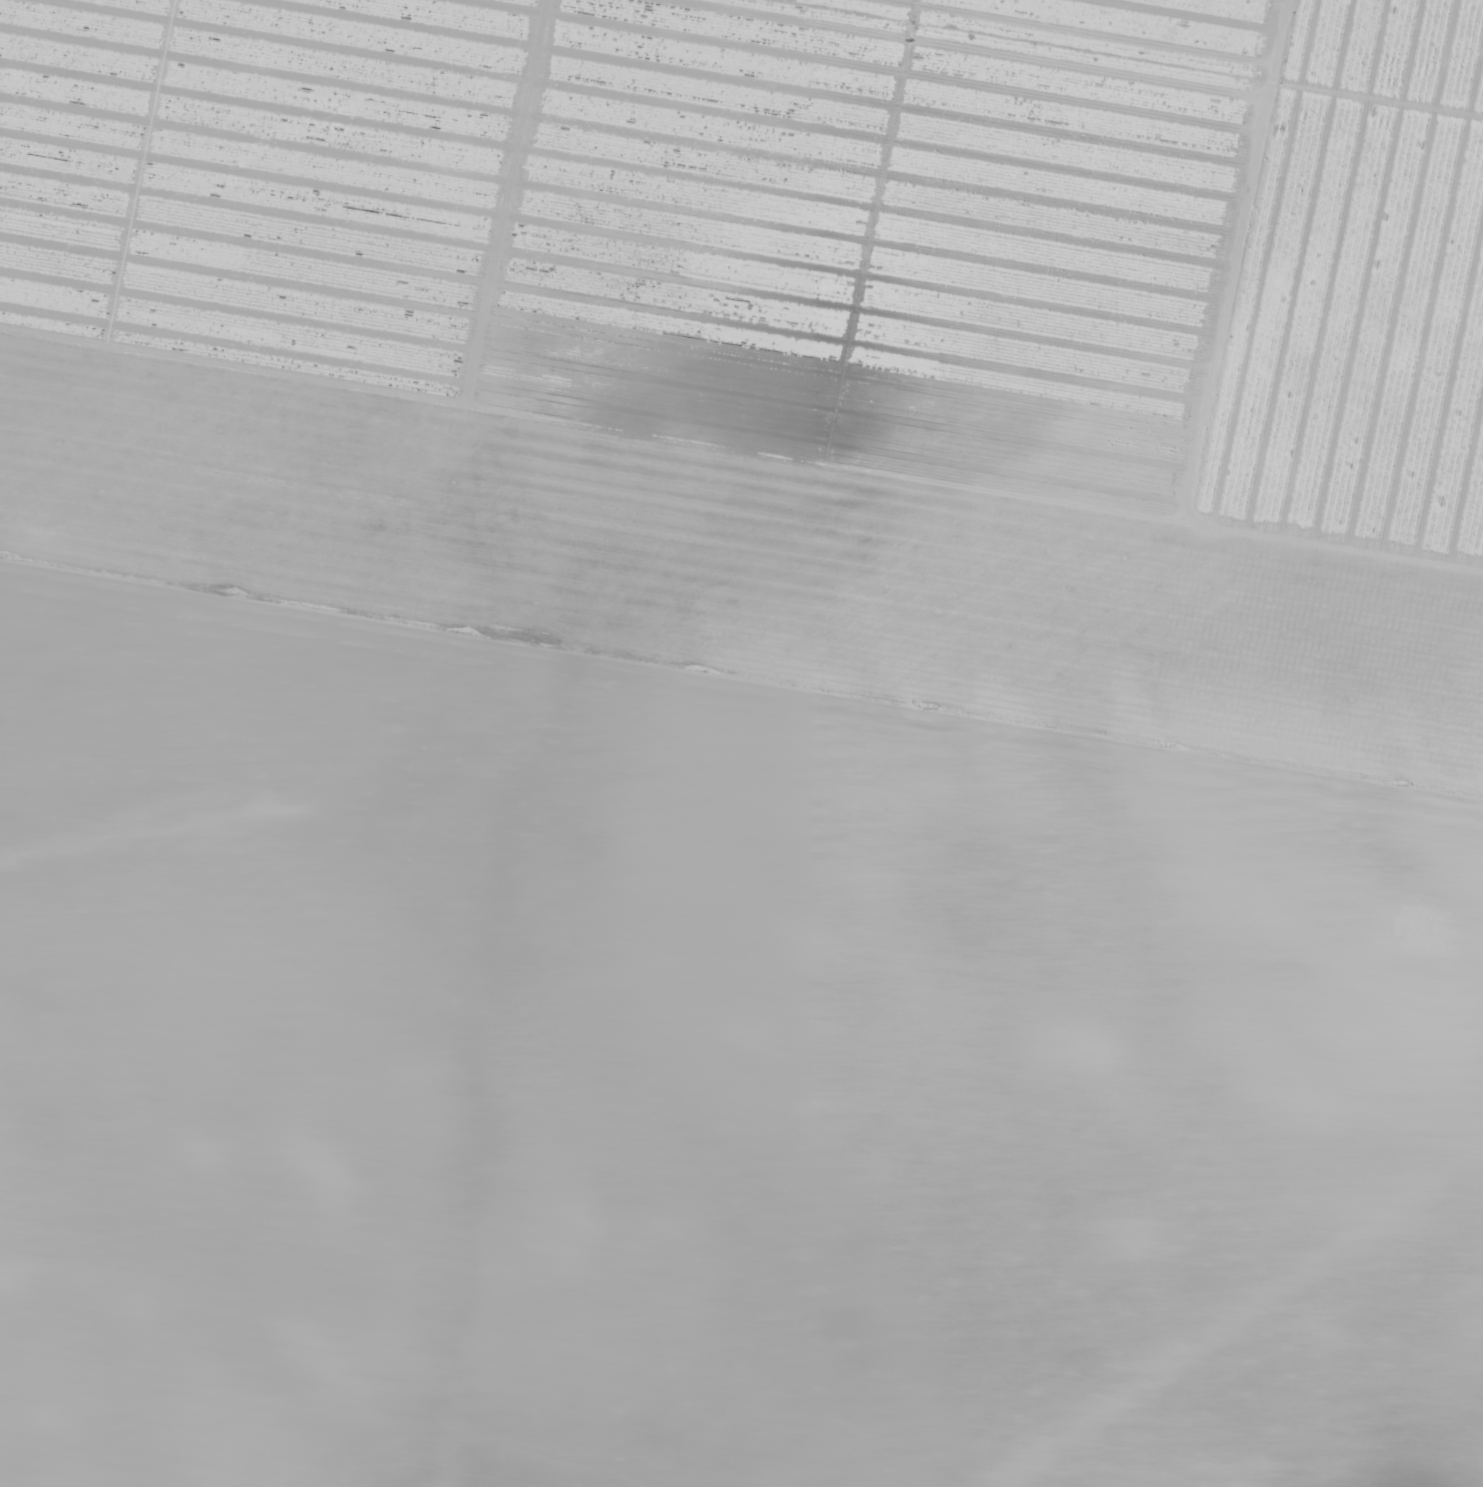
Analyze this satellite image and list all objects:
road: (741, 671)

